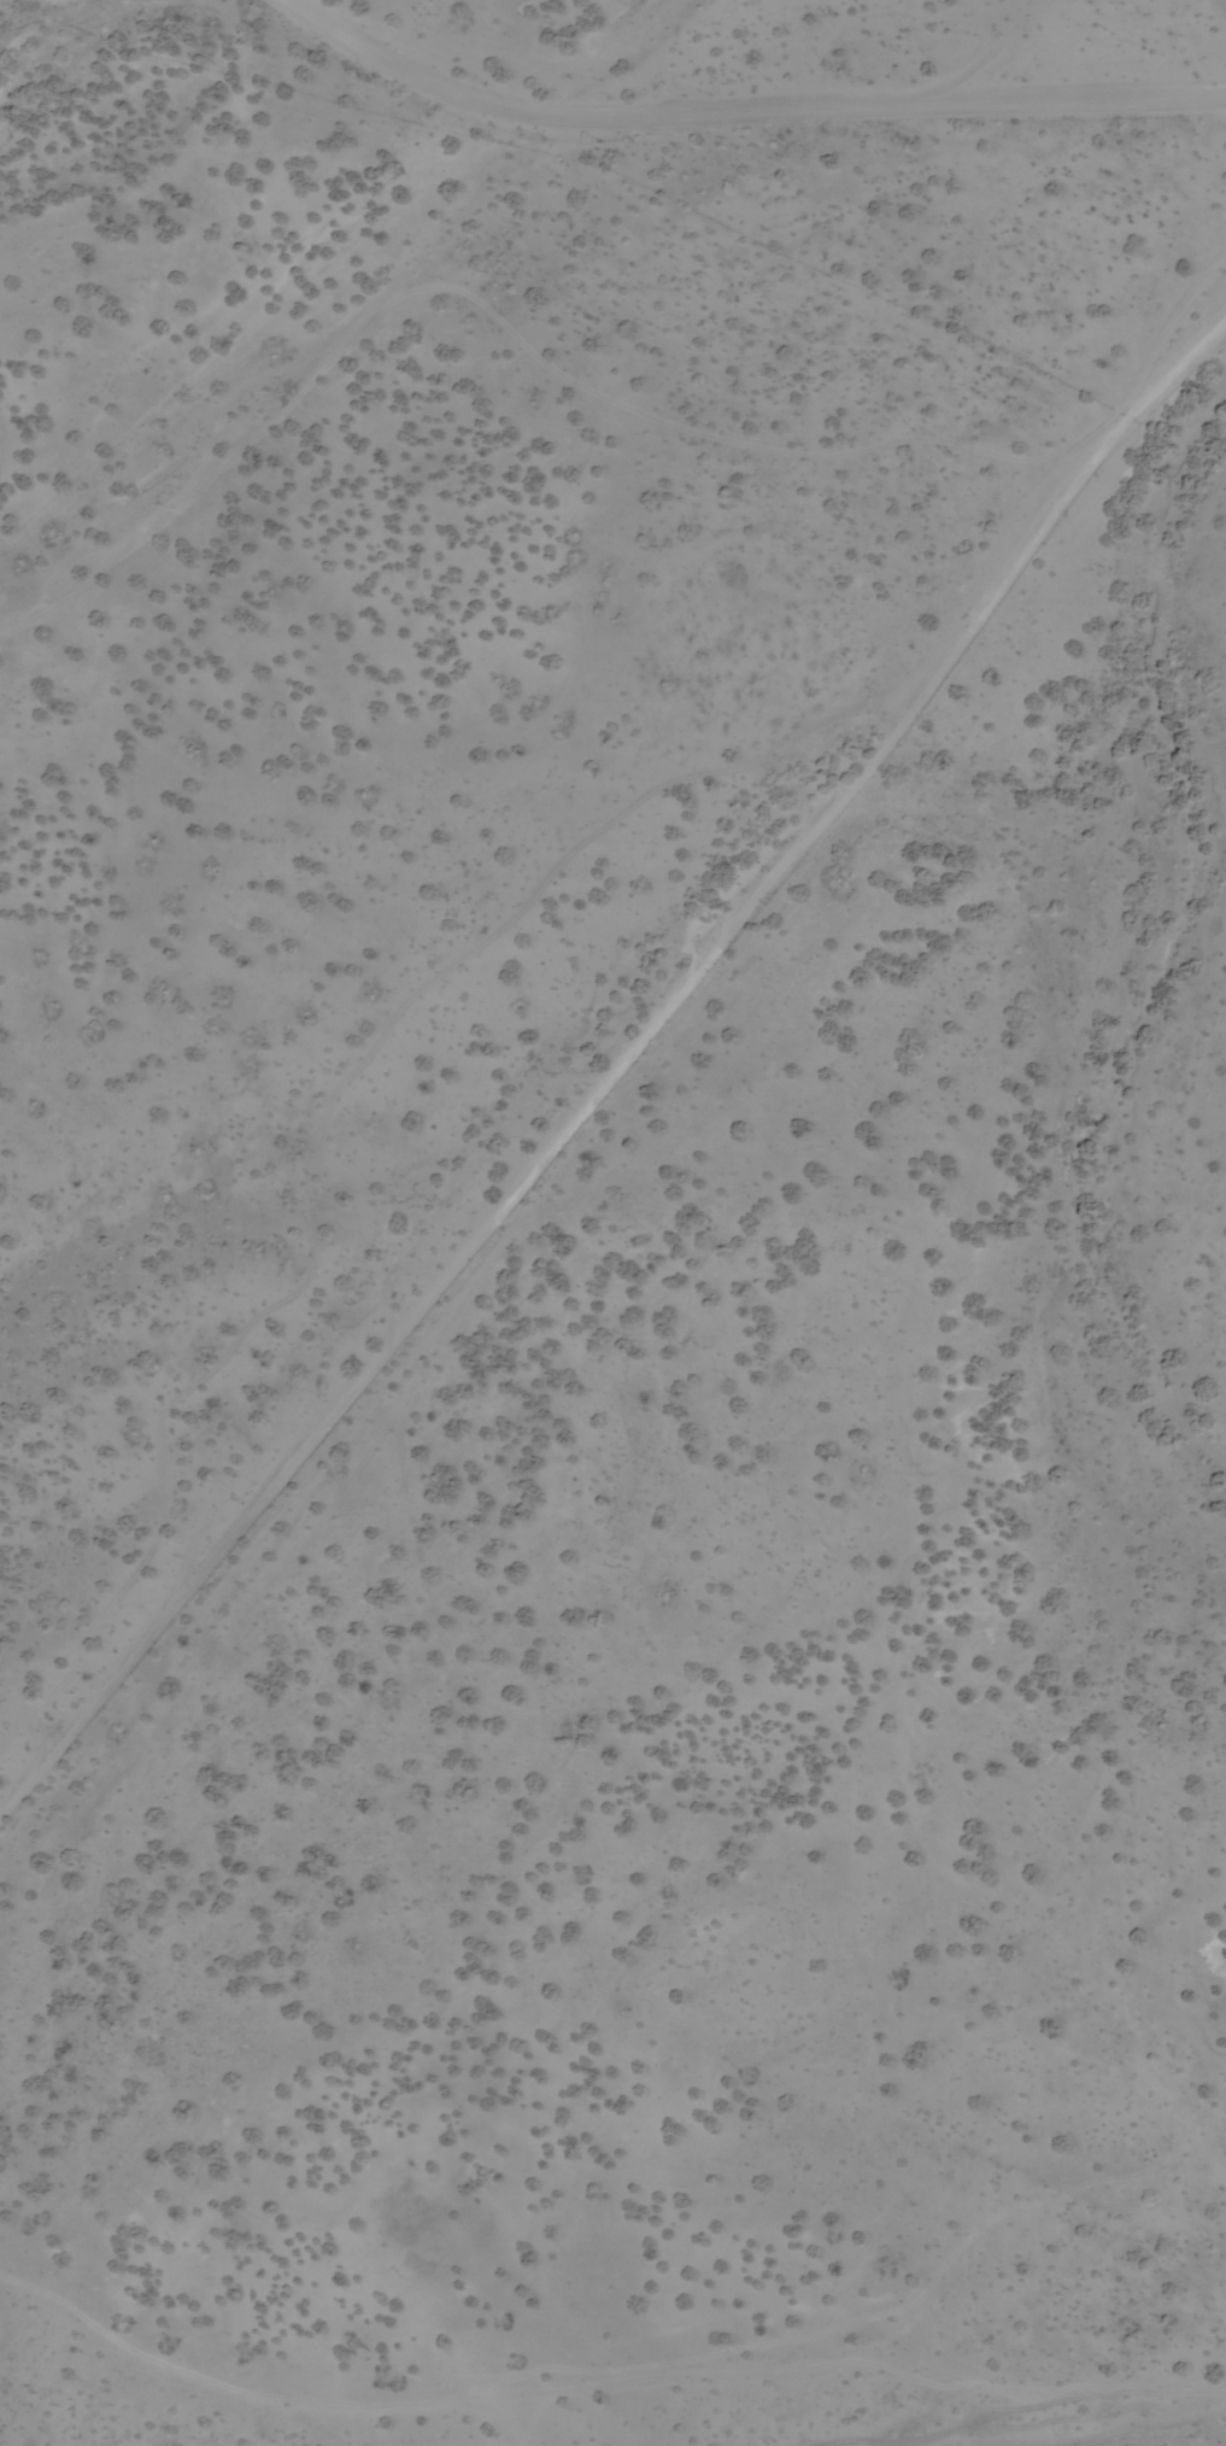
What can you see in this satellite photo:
road: (767, 70)
road: (348, 343)

